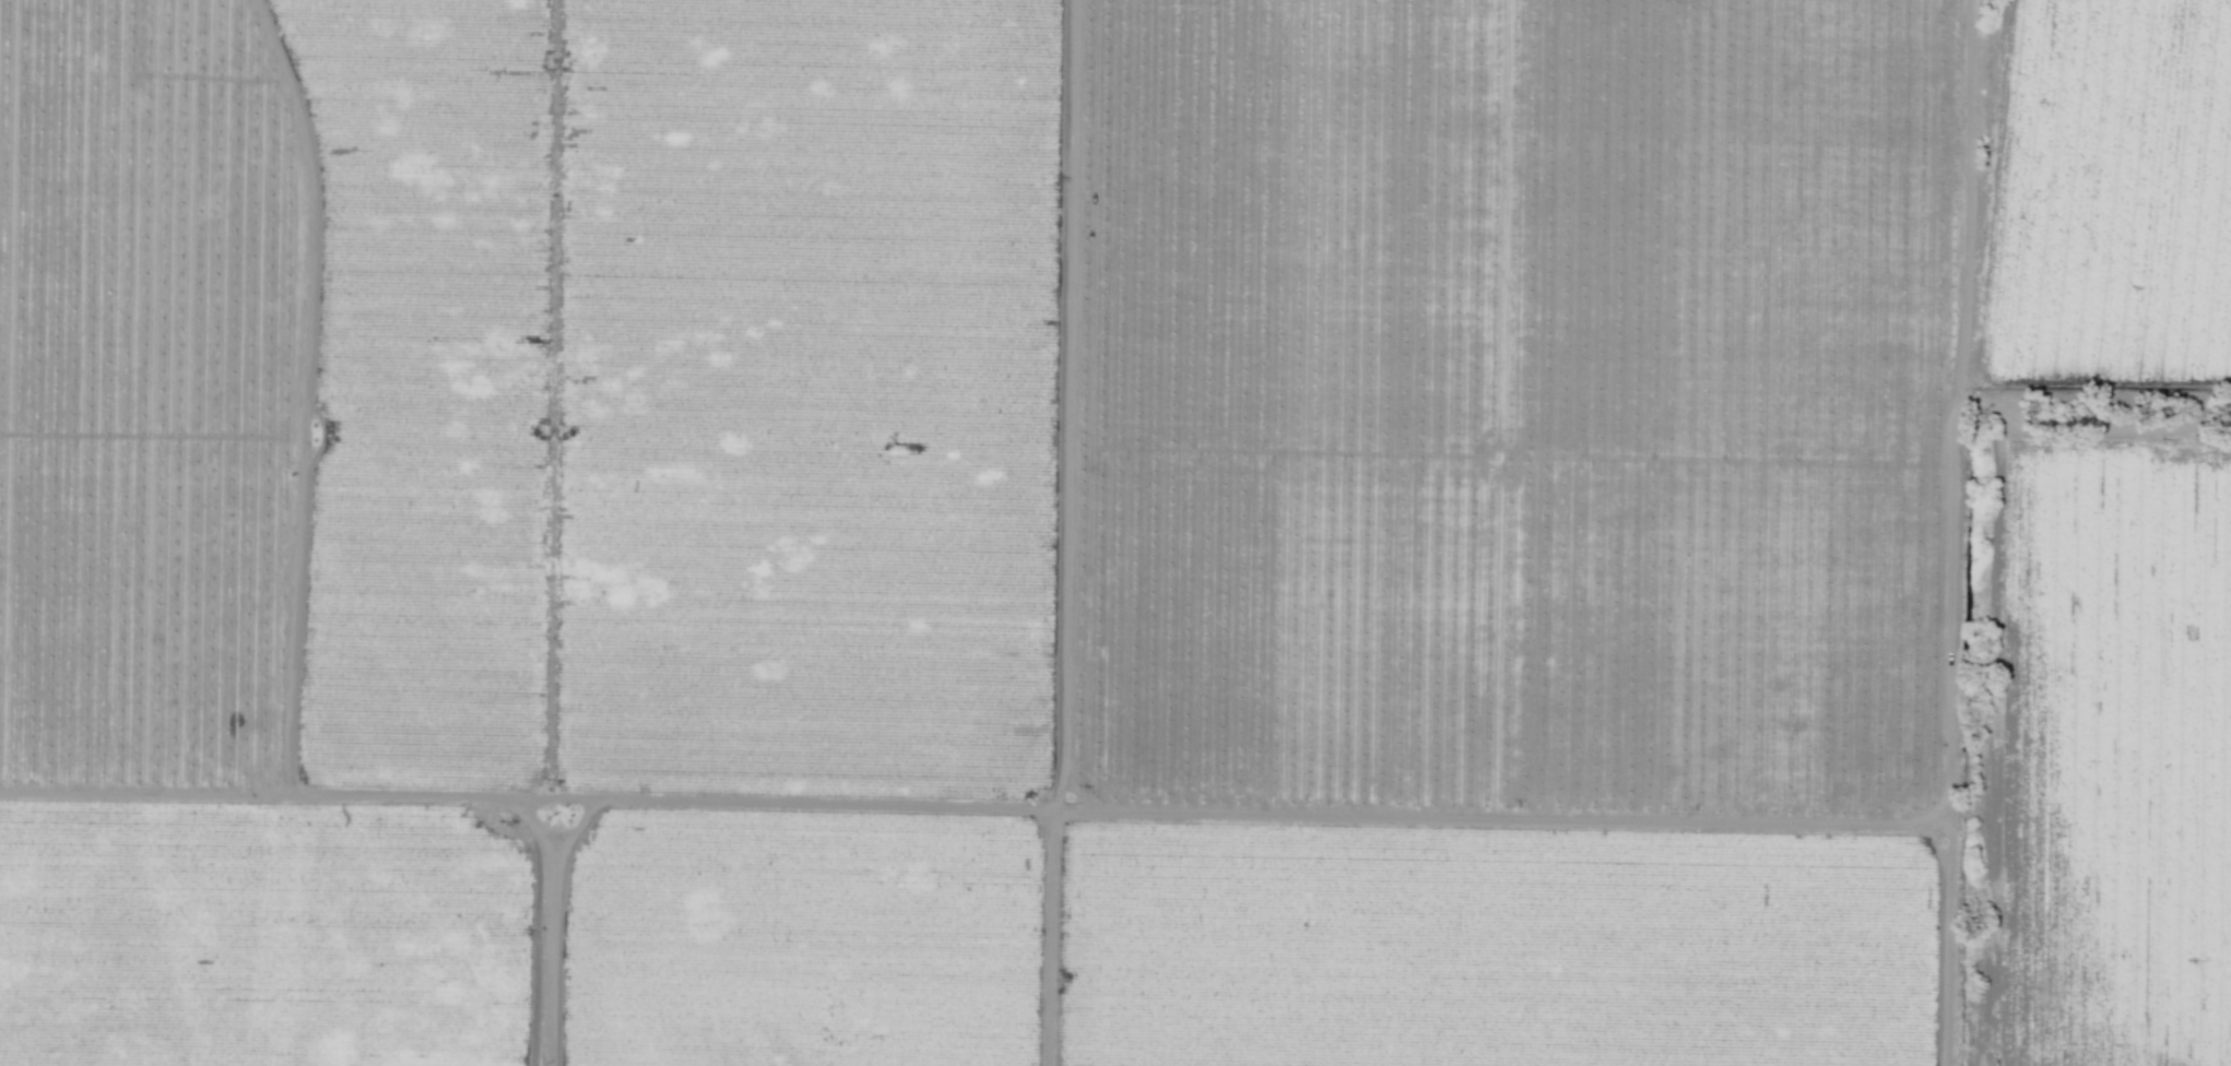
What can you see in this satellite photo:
road: (1991, 179)
road: (1952, 532)

